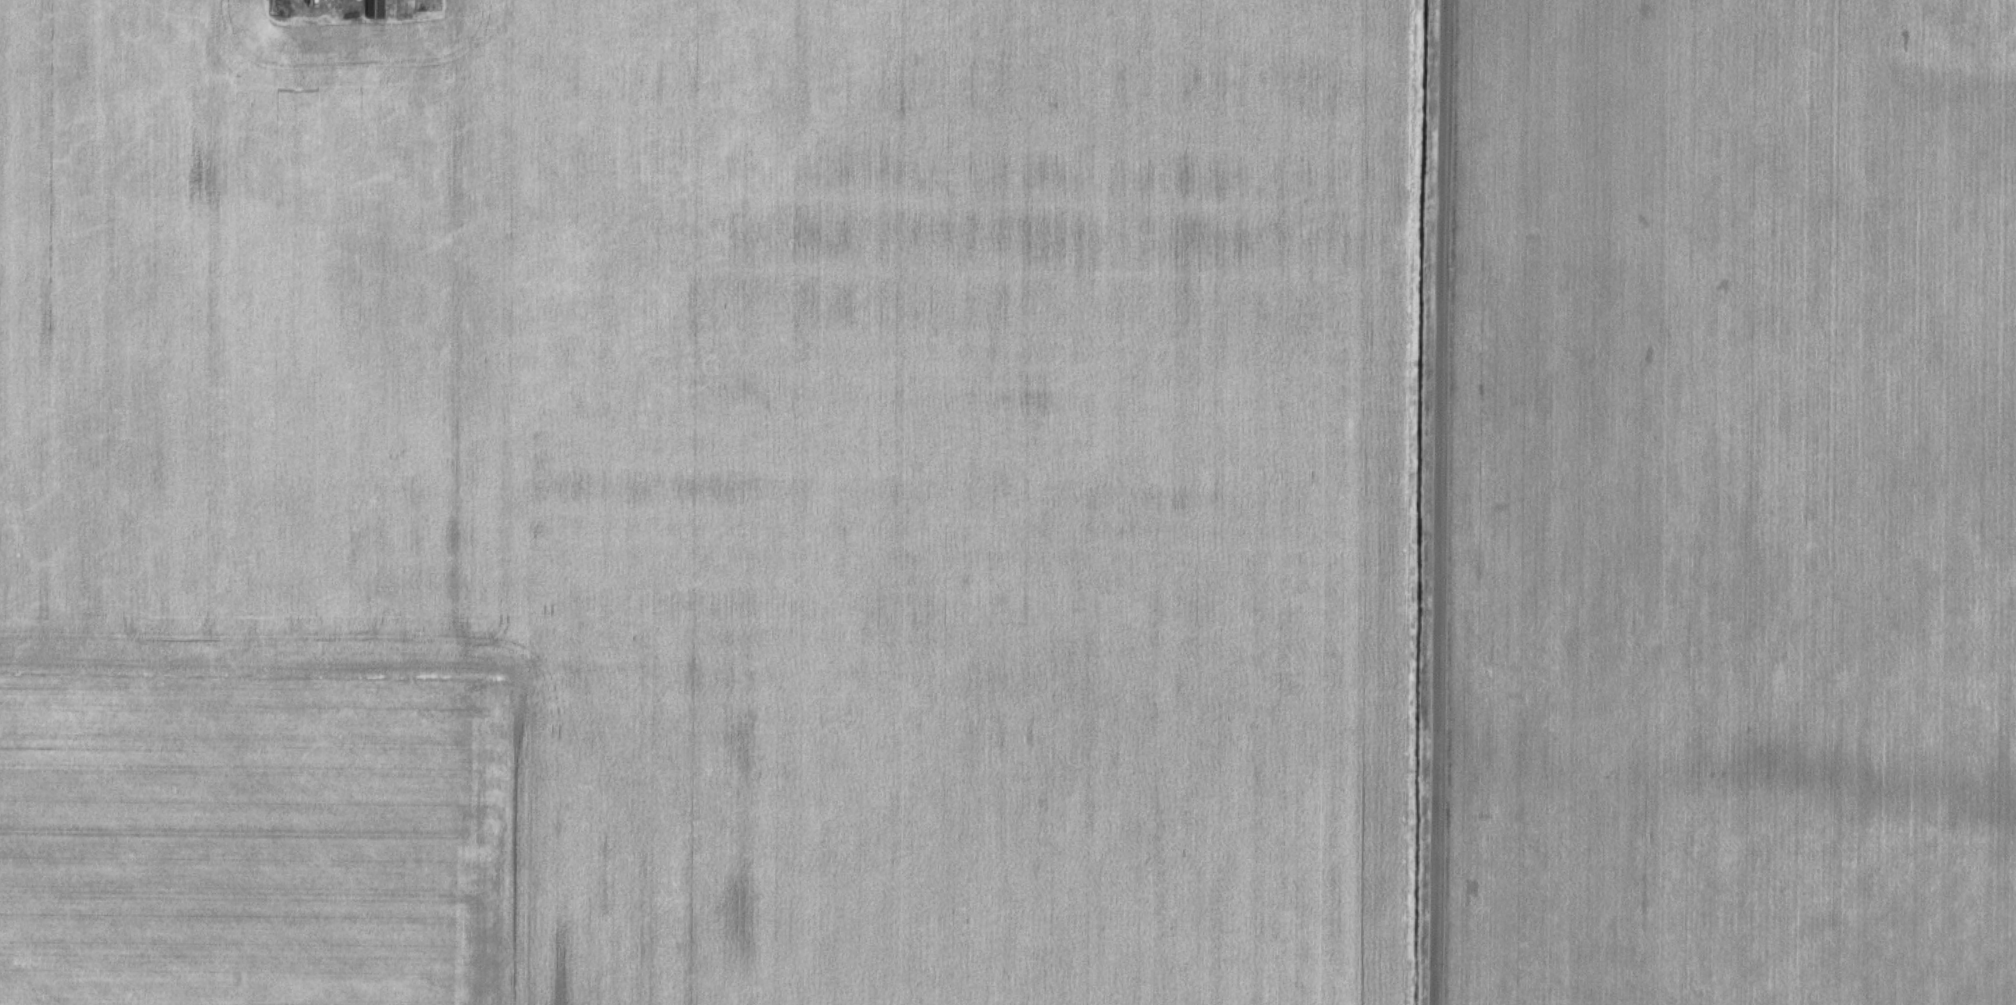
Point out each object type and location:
building: (379, 8)
road: (1431, 502)

